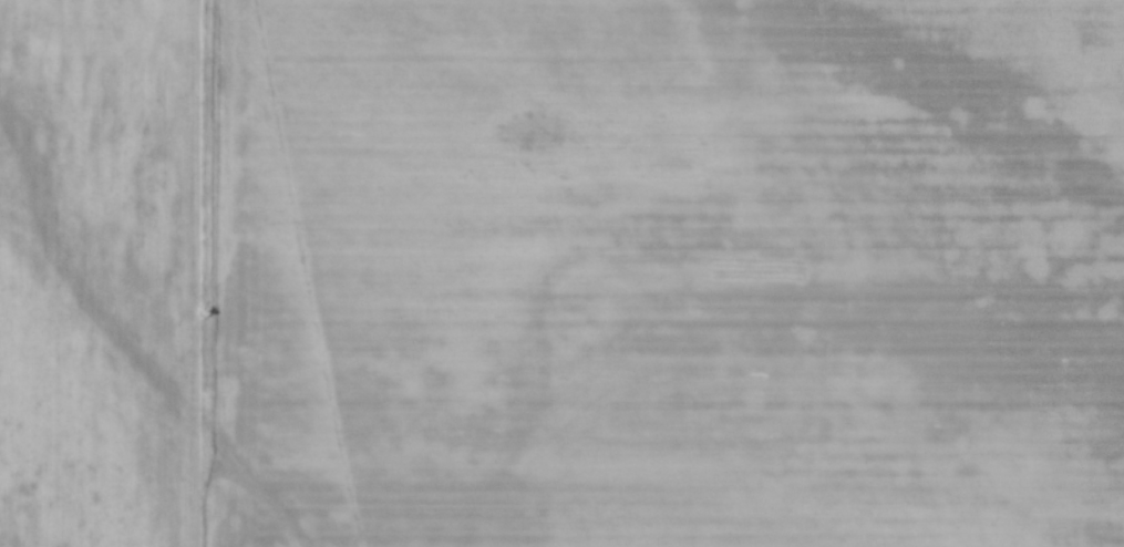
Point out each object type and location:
crop: (561, 273)

